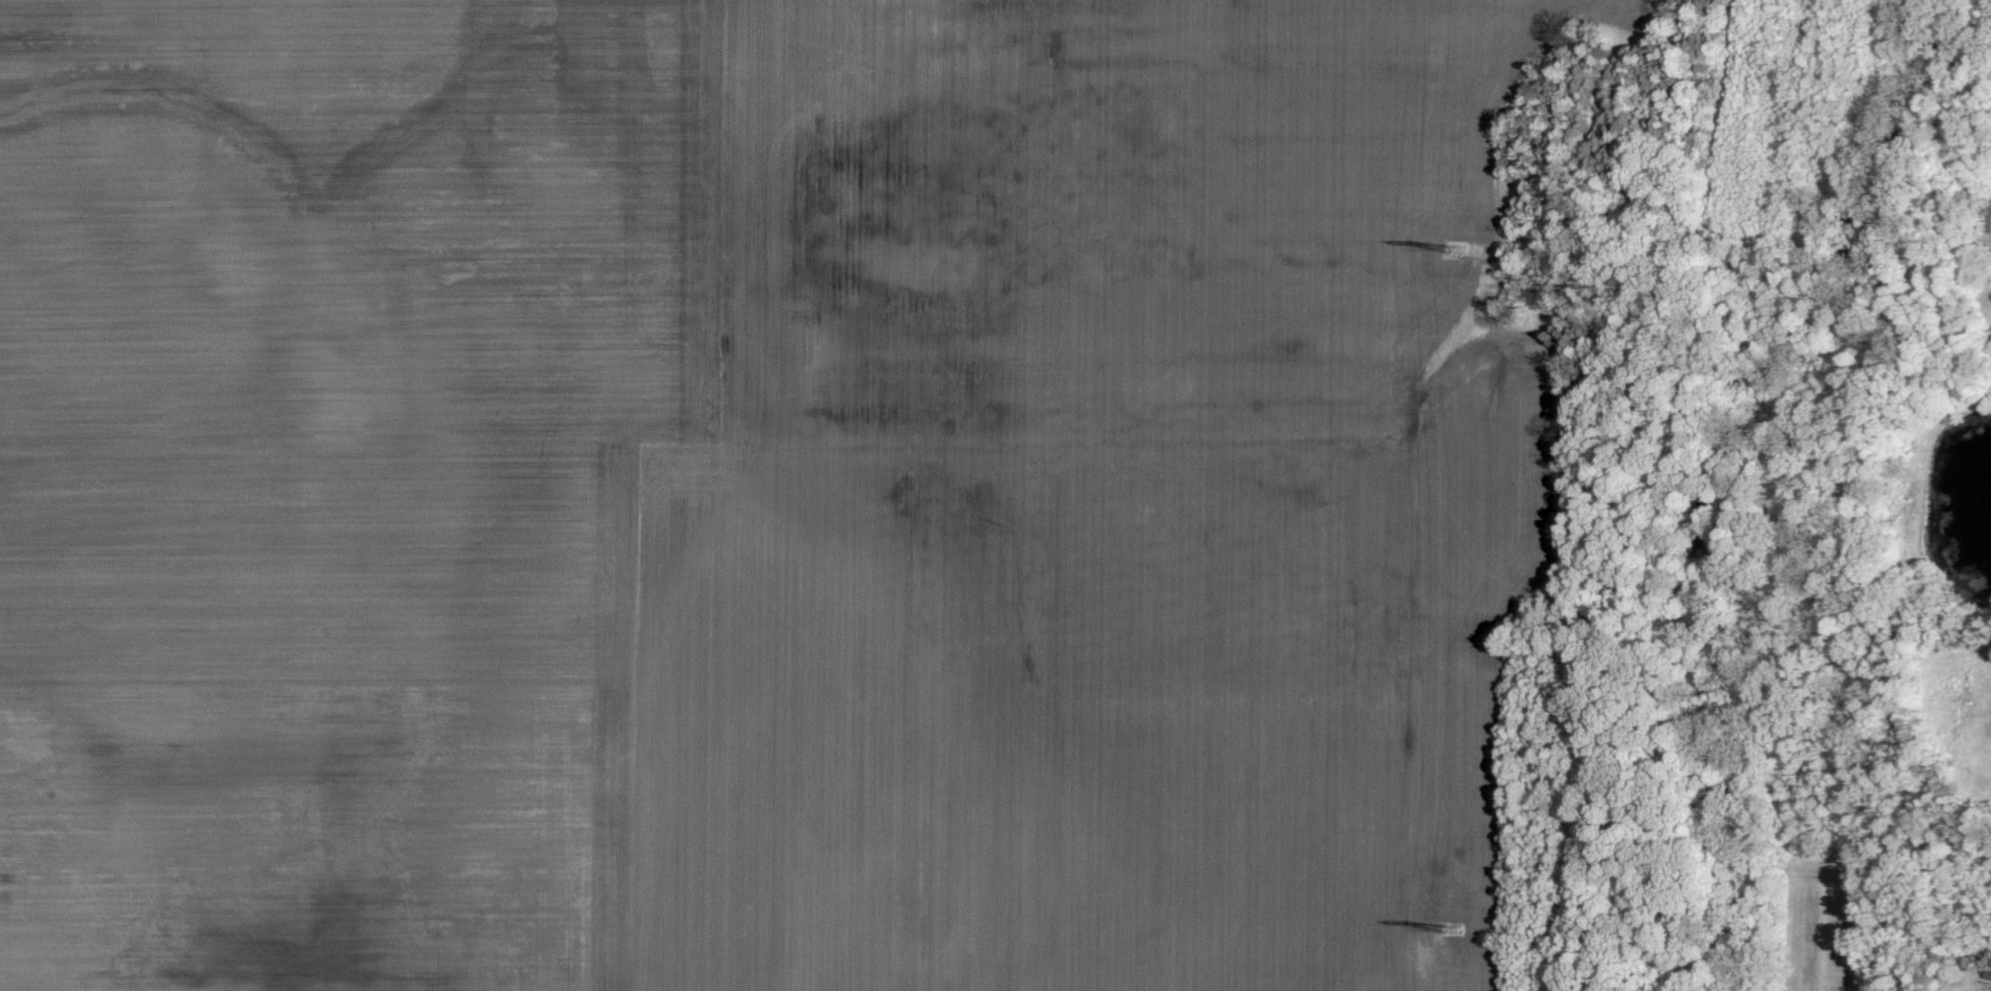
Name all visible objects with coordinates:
power tower: (1455, 248)
power tower: (1452, 929)

